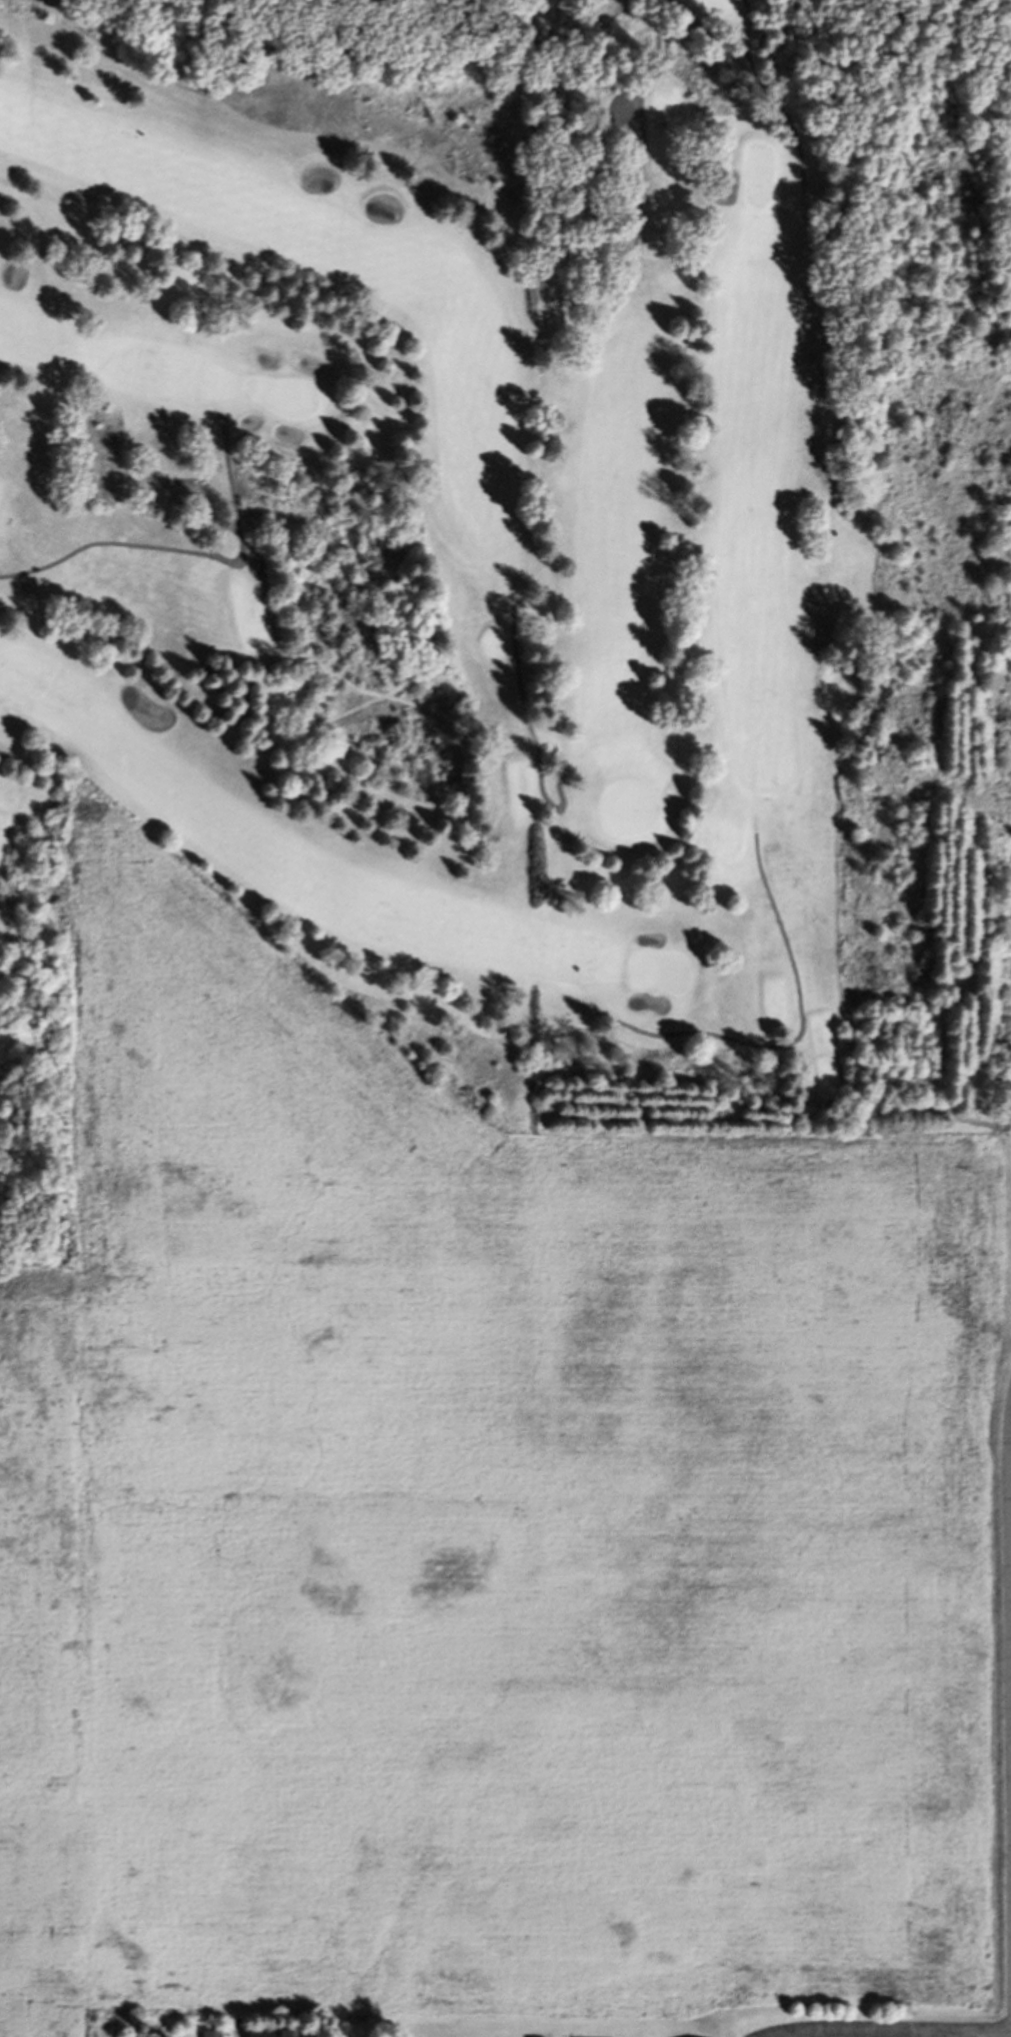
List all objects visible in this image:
road: (702, 34)
road: (772, 92)
road: (618, 114)
building: (599, 121)
road: (640, 138)
road: (189, 556)
park: (470, 569)
road: (530, 737)
road: (534, 866)
road: (535, 1022)
road: (797, 1039)
road: (1010, 1458)
road: (854, 2032)
road: (976, 2033)
road: (231, 2035)
building: (265, 2035)
road: (940, 2035)
building: (210, 2036)

